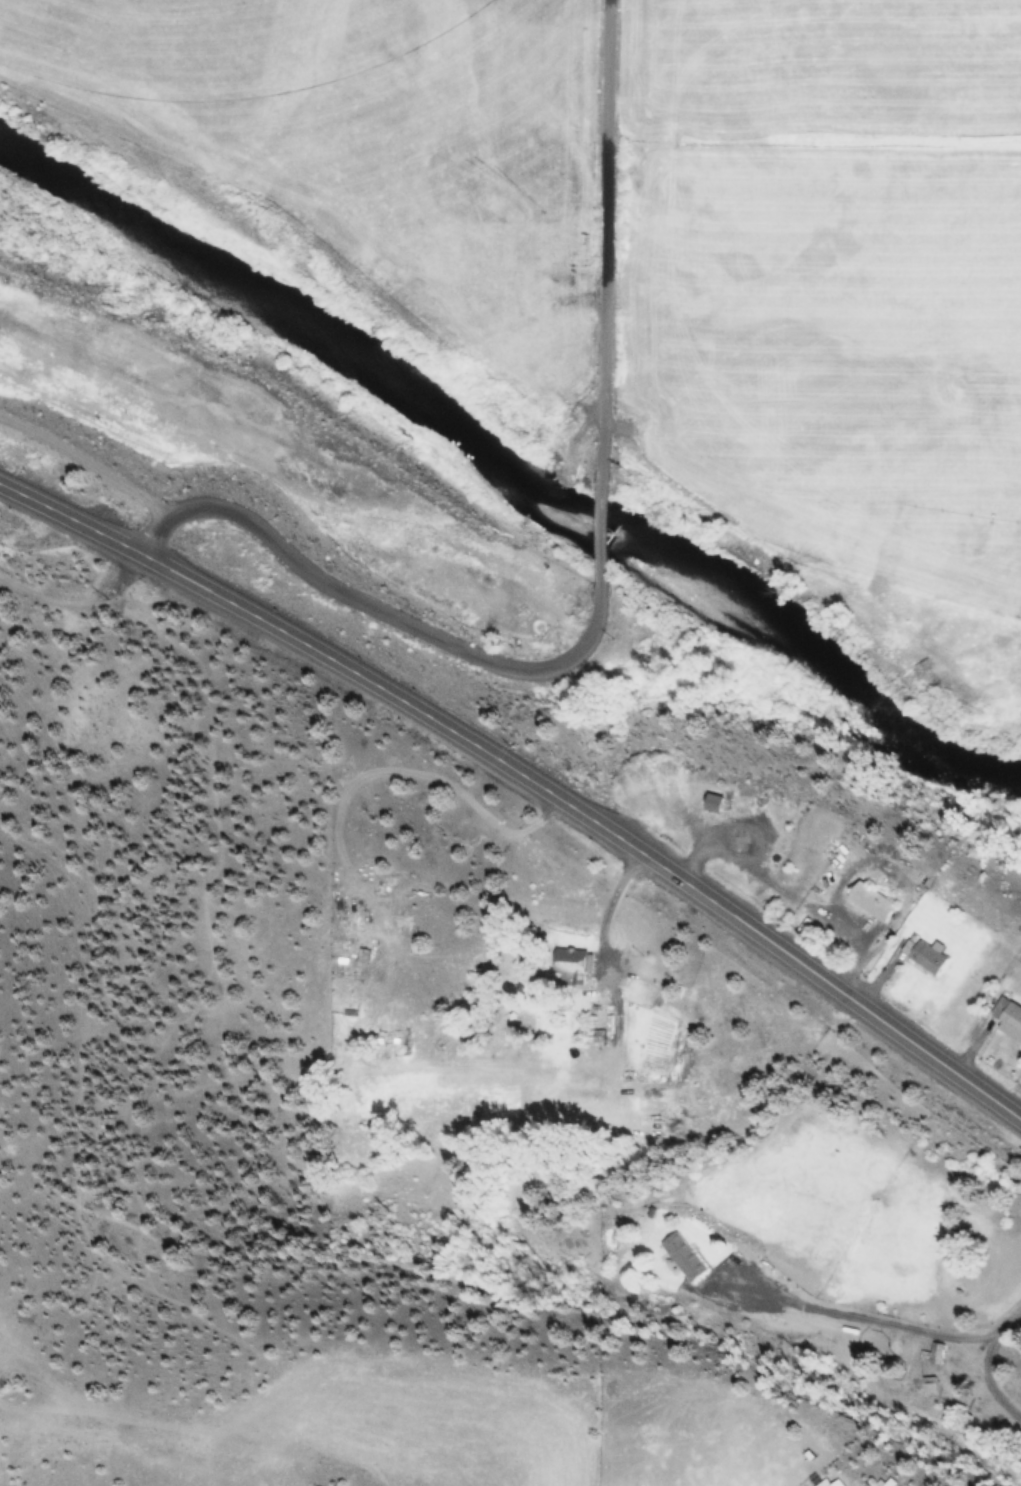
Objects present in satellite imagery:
road: (607, 238)
river: (509, 472)
road: (601, 529)
road: (171, 567)
building: (539, 577)
road: (78, 601)
road: (379, 609)
building: (708, 805)
road: (686, 880)
building: (868, 904)
building: (364, 952)
building: (924, 960)
building: (566, 966)
building: (1005, 1021)
building: (680, 1258)
building: (933, 1354)
building: (930, 1387)
building: (884, 1482)

